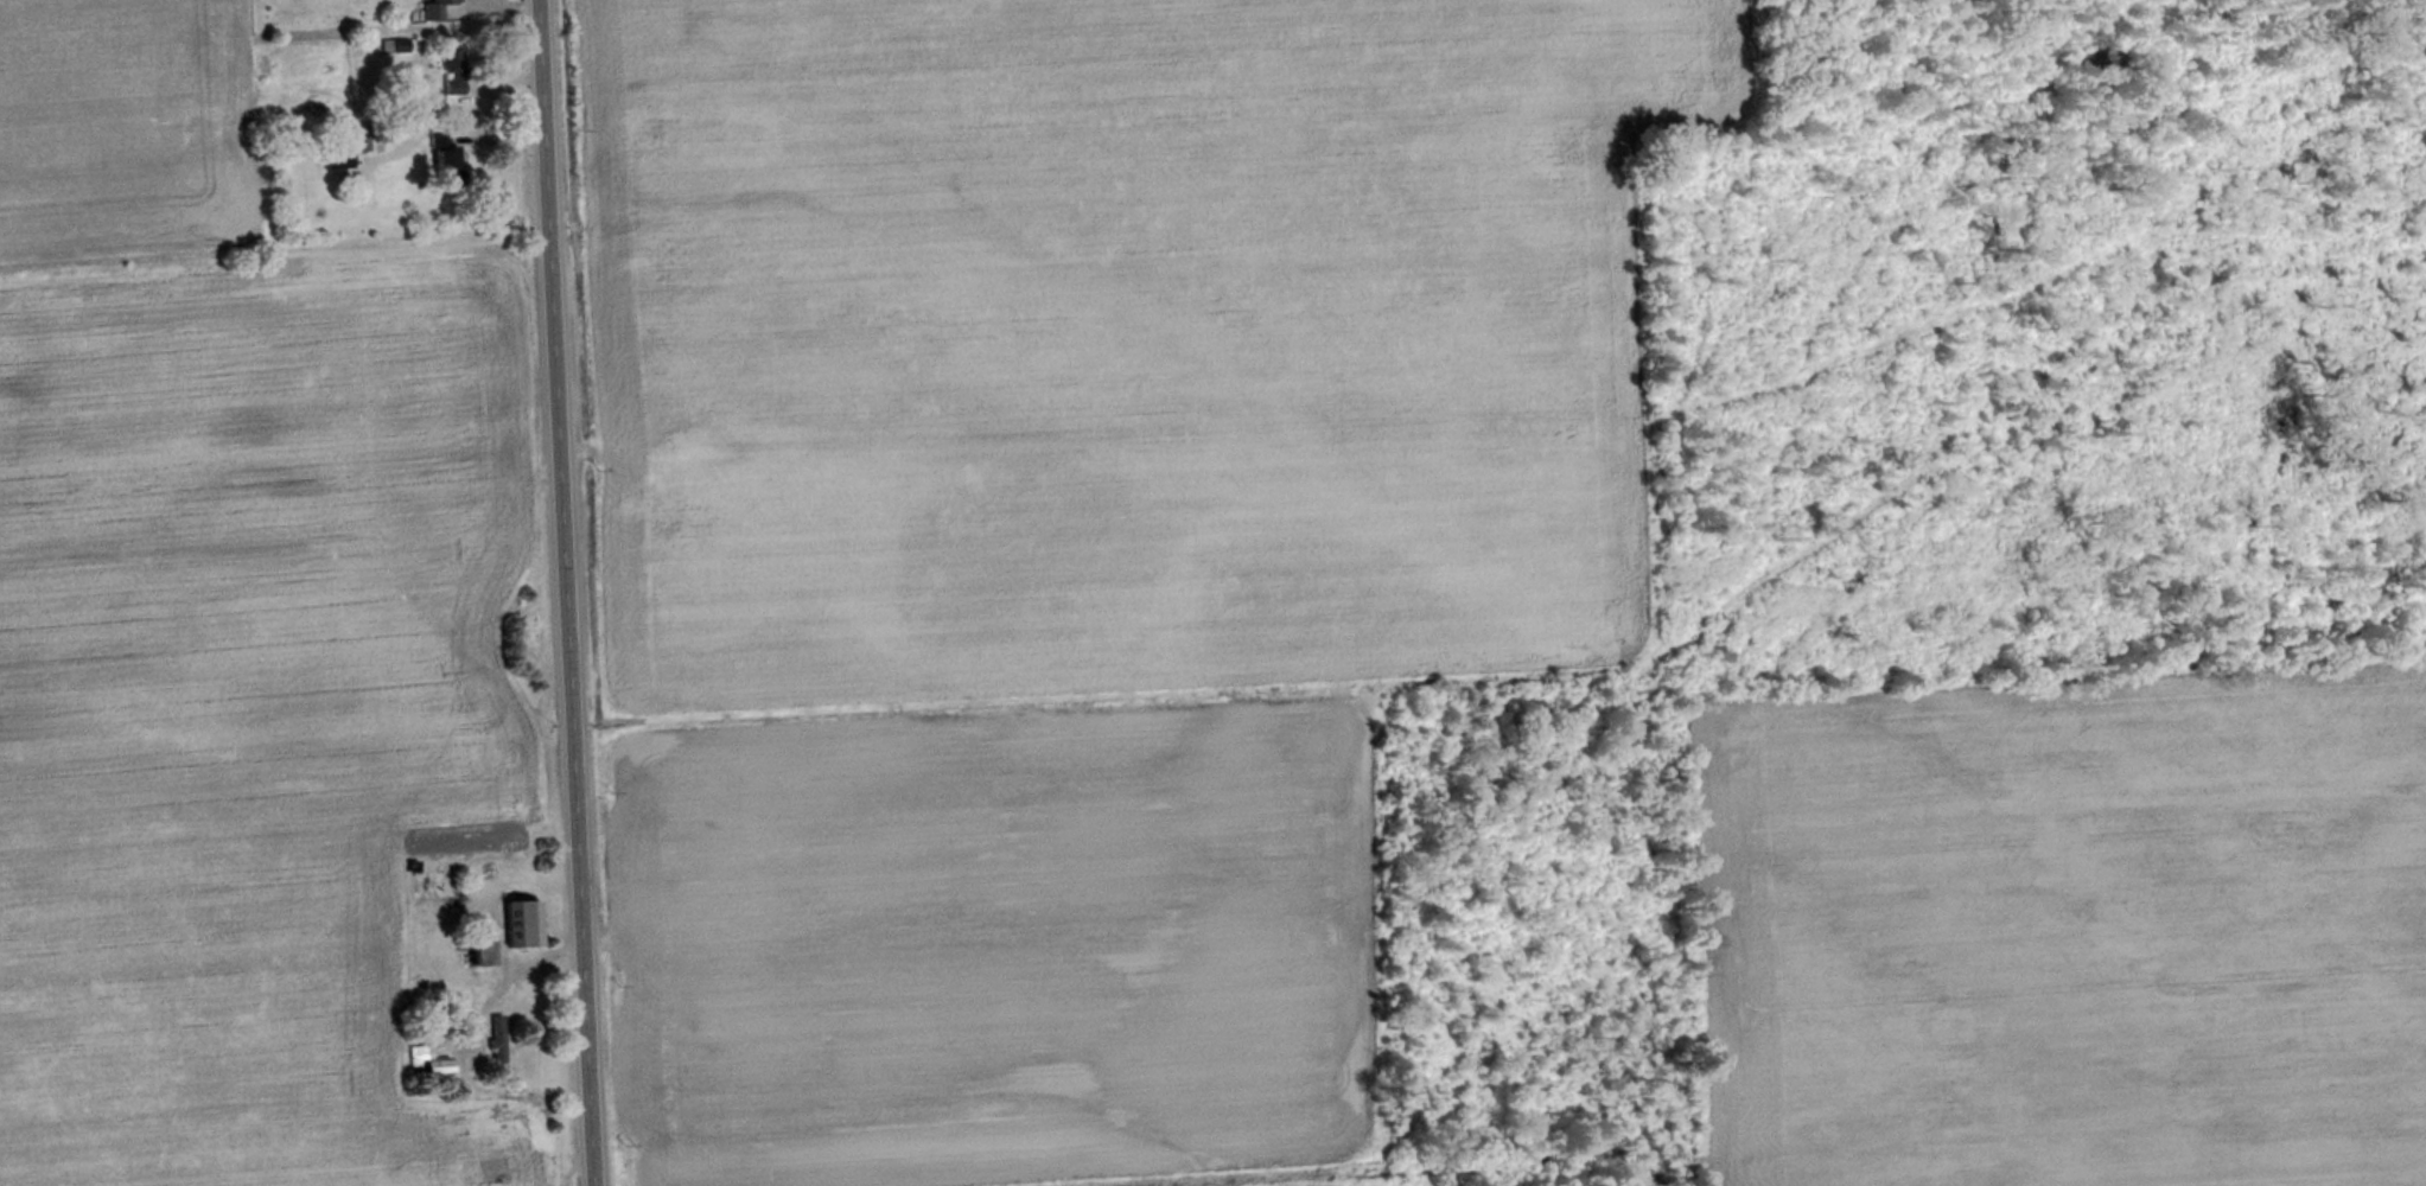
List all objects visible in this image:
building: (437, 9)
building: (453, 75)
building: (337, 161)
building: (447, 168)
road: (559, 593)
building: (521, 926)
building: (478, 956)
building: (496, 1044)
building: (425, 1064)

